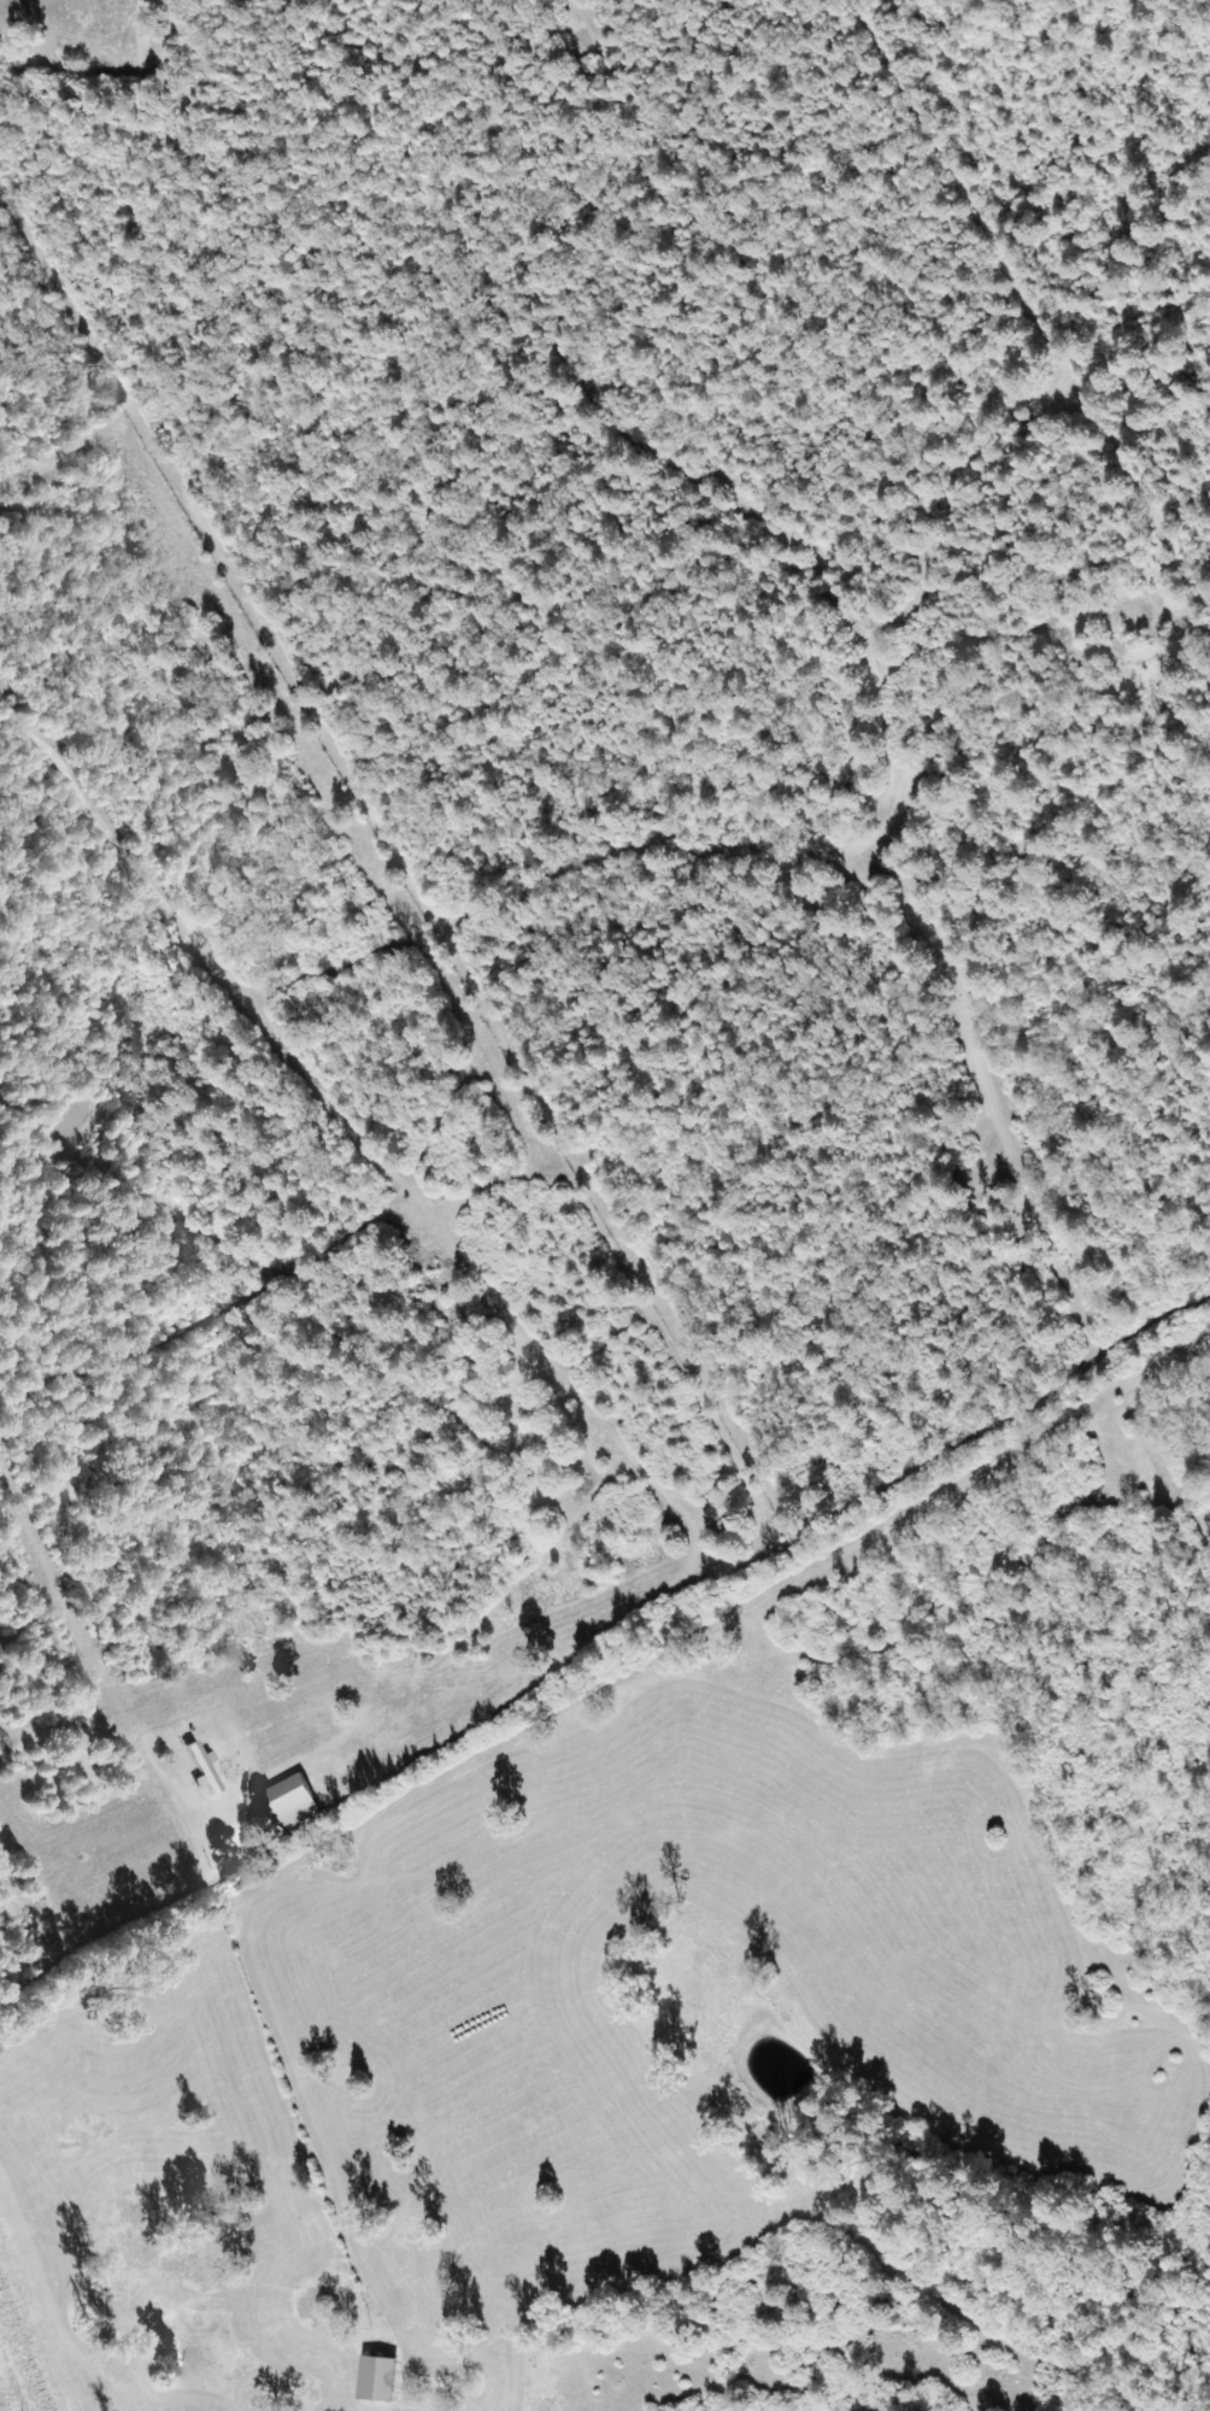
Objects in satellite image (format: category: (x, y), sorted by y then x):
building: (204, 1770)
building: (293, 1800)
building: (383, 2378)

